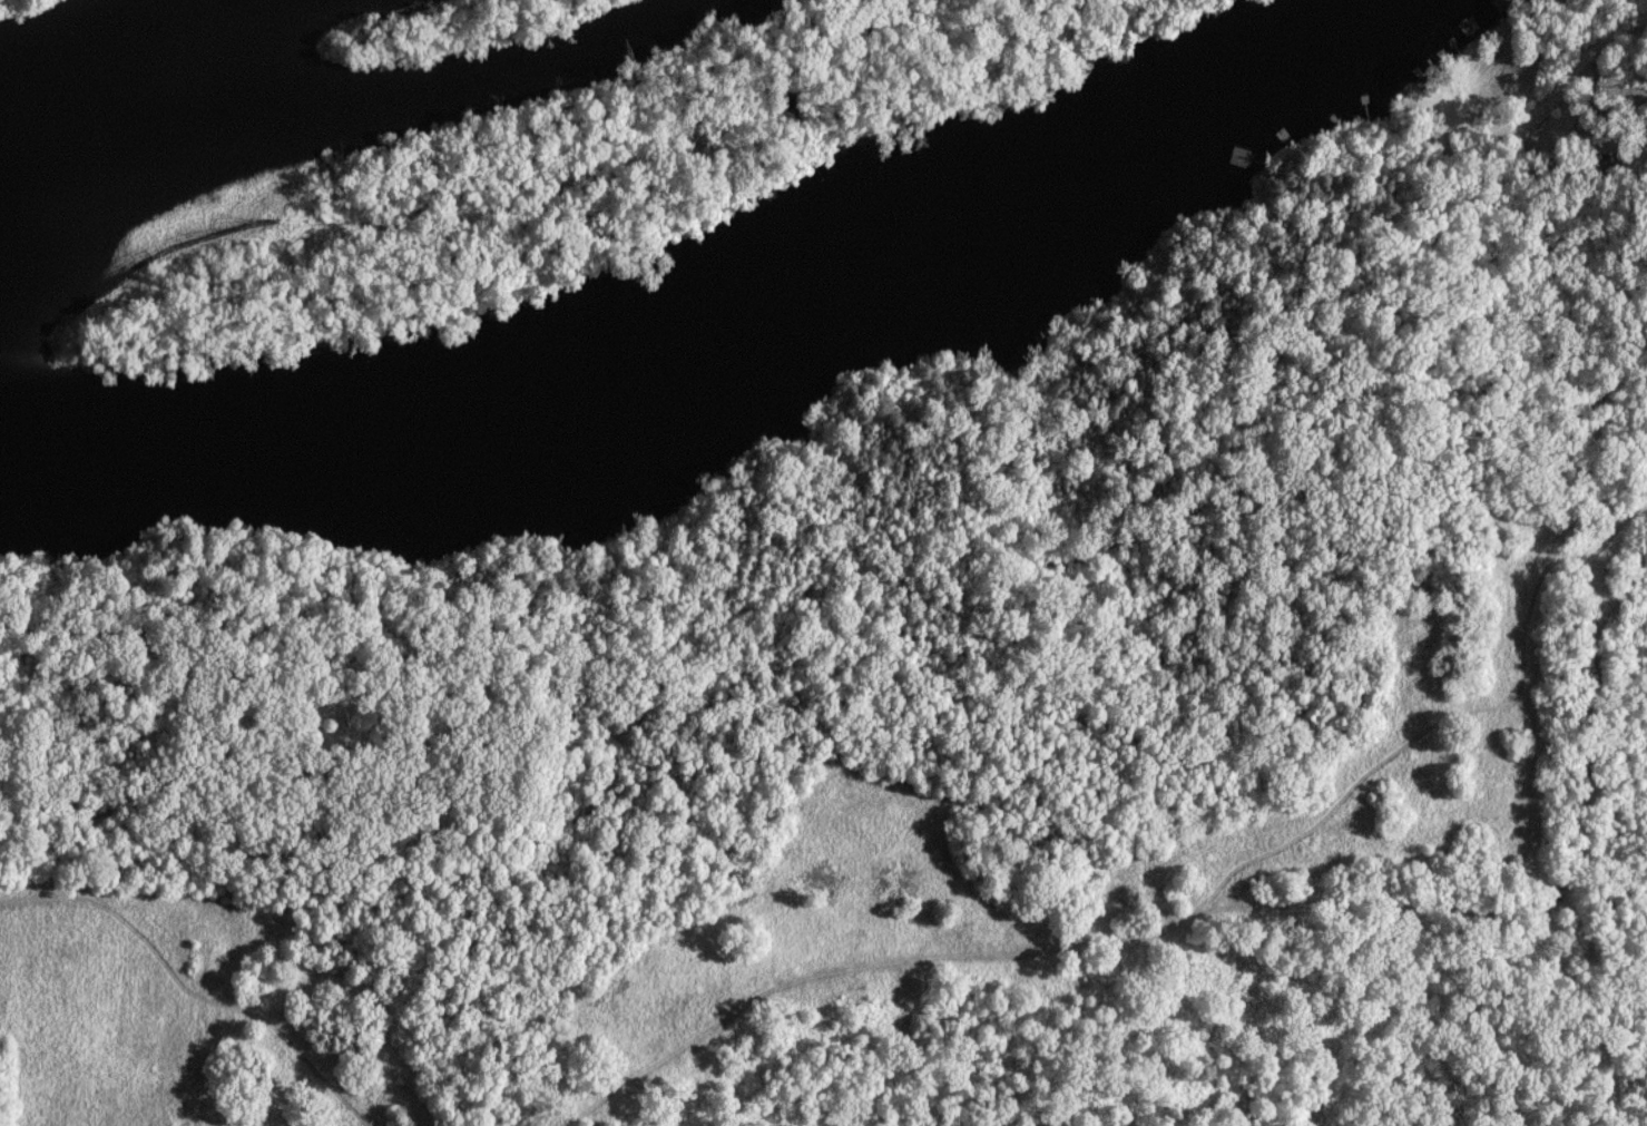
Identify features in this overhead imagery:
road: (1611, 45)
road: (1600, 110)
road: (1522, 135)
river: (728, 327)

